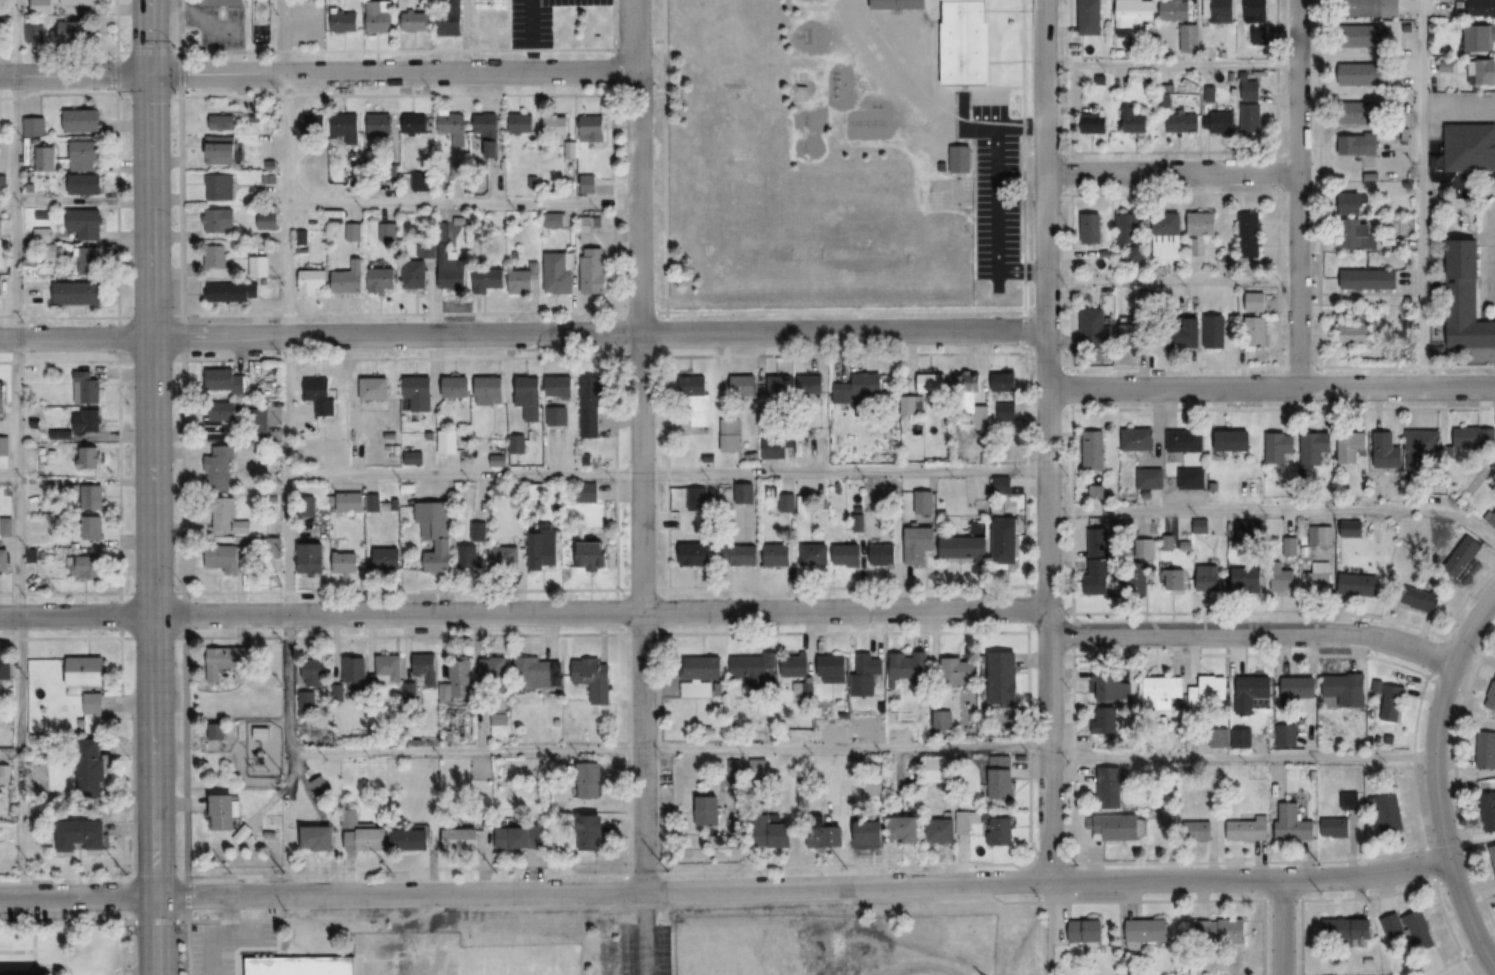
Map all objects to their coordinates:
building: (809, 0)
road: (1463, 2)
building: (78, 3)
building: (225, 3)
road: (1453, 3)
building: (896, 4)
road: (1424, 5)
parking lot: (1407, 6)
building: (459, 7)
parking lot: (1443, 7)
building: (1372, 8)
building: (1480, 8)
building: (1176, 10)
building: (1218, 11)
building: (1256, 11)
building: (1459, 12)
building: (380, 16)
building: (1090, 17)
building: (1134, 17)
building: (347, 20)
building: (3, 21)
building: (417, 21)
building: (453, 24)
building: (1462, 31)
building: (67, 32)
building: (34, 33)
building: (1363, 36)
building: (1479, 37)
building: (1435, 38)
building: (1189, 39)
road: (1419, 41)
building: (964, 42)
road: (1360, 51)
road: (1364, 51)
road: (1488, 54)
road: (1367, 55)
road: (1354, 59)
road: (1370, 59)
road: (1169, 65)
road: (1430, 66)
building: (1445, 67)
road: (392, 72)
road: (1460, 72)
building: (1482, 72)
road: (1419, 73)
road: (73, 74)
traffic signals: (148, 74)
road: (1069, 75)
building: (1362, 75)
parking lot: (1408, 75)
road: (1467, 83)
road: (1483, 89)
road: (1360, 94)
road: (1364, 94)
road: (1367, 94)
road: (14, 104)
parking lot: (1458, 110)
road: (1419, 111)
building: (1362, 114)
road: (1425, 116)
road: (1461, 116)
building: (1253, 118)
building: (82, 120)
building: (223, 122)
building: (1143, 122)
building: (1223, 122)
building: (312, 123)
building: (379, 123)
building: (454, 123)
building: (522, 123)
building: (1183, 123)
building: (413, 124)
building: (556, 124)
building: (1098, 124)
road: (1461, 125)
road: (976, 126)
road: (1019, 126)
building: (34, 127)
building: (345, 128)
building: (592, 129)
building: (488, 133)
road: (1323, 145)
building: (1358, 147)
building: (1469, 148)
building: (221, 150)
road: (1046, 152)
road: (1021, 154)
building: (85, 155)
road: (1418, 157)
parking lot: (1394, 158)
building: (43, 159)
building: (960, 160)
building: (941, 167)
building: (1368, 171)
road: (1169, 173)
building: (1375, 174)
building: (1407, 182)
building: (588, 183)
building: (85, 185)
building: (218, 187)
road: (1320, 187)
road: (1485, 187)
parking lot: (1490, 189)
road: (1295, 193)
road: (1423, 193)
park: (948, 194)
parking lot: (993, 194)
road: (1153, 194)
road: (1152, 198)
road: (1481, 198)
road: (1196, 199)
road: (1308, 202)
road: (1120, 203)
building: (1348, 203)
road: (461, 204)
road: (996, 207)
road: (7, 210)
road: (1349, 216)
road: (1484, 217)
building: (220, 220)
building: (267, 220)
building: (555, 221)
building: (589, 223)
building: (1201, 223)
road: (1274, 223)
building: (85, 224)
building: (1, 228)
building: (1090, 228)
road: (1104, 230)
building: (385, 232)
building: (352, 233)
building: (1130, 234)
building: (1165, 235)
building: (1249, 235)
building: (1356, 235)
road: (284, 237)
road: (1273, 245)
building: (1193, 246)
building: (1105, 247)
parking lot: (1089, 250)
parking lot: (1490, 251)
road: (1059, 252)
parking lot: (1198, 255)
building: (216, 257)
park: (864, 257)
park: (749, 258)
building: (90, 261)
road: (1071, 262)
building: (257, 266)
road: (1170, 269)
road: (1122, 270)
building: (593, 271)
road: (1021, 271)
building: (451, 272)
building: (559, 273)
road: (1196, 273)
building: (414, 275)
road: (1170, 278)
building: (1367, 278)
building: (349, 279)
parking lot: (1314, 279)
building: (2, 280)
building: (382, 280)
building: (489, 280)
road: (1279, 280)
building: (312, 281)
building: (521, 281)
parking lot: (1408, 281)
road: (1414, 281)
road: (1358, 291)
road: (1378, 291)
building: (233, 292)
building: (77, 294)
road: (1367, 294)
building: (1145, 297)
building: (1465, 298)
parking lot: (1278, 303)
road: (1291, 305)
road: (687, 311)
road: (638, 312)
road: (1302, 312)
parking lot: (1330, 312)
building: (1357, 313)
building: (1254, 321)
building: (1092, 329)
road: (1023, 330)
building: (1133, 331)
building: (1213, 332)
road: (1272, 332)
building: (1354, 333)
road: (664, 334)
building: (1183, 334)
road: (1324, 334)
road: (597, 335)
road: (74, 338)
road: (15, 344)
parking lot: (1227, 344)
building: (1240, 345)
road: (1269, 349)
road: (1357, 350)
road: (1133, 355)
parking lot: (1243, 357)
road: (1365, 366)
road: (1463, 366)
road: (1173, 367)
road: (1102, 371)
road: (1228, 376)
road: (1244, 376)
building: (225, 381)
building: (932, 383)
building: (1003, 383)
building: (811, 385)
building: (560, 387)
building: (744, 387)
building: (779, 387)
road: (1270, 387)
building: (87, 388)
building: (456, 388)
building: (857, 388)
building: (374, 390)
building: (490, 391)
building: (320, 395)
building: (418, 395)
building: (3, 398)
building: (697, 400)
building: (977, 402)
building: (911, 406)
building: (590, 407)
building: (524, 410)
building: (1005, 412)
building: (557, 416)
building: (219, 419)
building: (85, 420)
building: (730, 435)
building: (1474, 438)
road: (1045, 439)
building: (1136, 440)
building: (1234, 440)
building: (1185, 441)
building: (447, 442)
road: (638, 444)
building: (1278, 445)
road: (149, 447)
building: (1315, 447)
building: (1350, 447)
building: (771, 449)
building: (1093, 449)
building: (4, 450)
building: (1387, 451)
building: (1420, 451)
building: (89, 457)
building: (218, 468)
road: (666, 474)
building: (1149, 478)
road: (8, 479)
building: (1191, 479)
building: (1002, 485)
road: (182, 487)
building: (589, 492)
building: (743, 493)
building: (91, 497)
building: (696, 498)
building: (349, 502)
building: (372, 503)
road: (1275, 509)
building: (1491, 517)
building: (227, 518)
building: (6, 527)
building: (1200, 527)
building: (88, 529)
building: (1249, 530)
building: (477, 531)
building: (435, 534)
building: (1322, 536)
building: (1005, 541)
building: (919, 544)
building: (544, 547)
building: (964, 547)
building: (1146, 549)
building: (695, 554)
building: (740, 554)
building: (777, 554)
building: (815, 555)
building: (848, 555)
building: (884, 555)
building: (591, 556)
building: (1463, 556)
building: (310, 558)
building: (469, 558)
building: (507, 558)
building: (232, 559)
building: (387, 559)
building: (4, 562)
building: (1099, 562)
building: (346, 563)
building: (85, 567)
building: (1208, 579)
building: (1175, 580)
building: (1247, 580)
building: (1284, 580)
building: (1137, 583)
building: (1318, 584)
building: (1360, 585)
road: (535, 589)
building: (1424, 601)
road: (522, 612)
road: (17, 616)
road: (1250, 634)
road: (83, 637)
road: (287, 644)
building: (225, 661)
building: (793, 666)
building: (701, 667)
building: (751, 667)
building: (908, 667)
building: (387, 668)
building: (830, 669)
building: (5, 670)
building: (493, 670)
building: (958, 671)
building: (85, 673)
building: (314, 673)
building: (354, 673)
building: (537, 673)
building: (865, 676)
building: (458, 679)
building: (594, 679)
building: (1003, 679)
building: (1113, 688)
building: (1205, 689)
building: (696, 690)
building: (1254, 690)
building: (1346, 690)
building: (1297, 691)
building: (1159, 692)
building: (1491, 698)
building: (306, 701)
building: (92, 702)
building: (1391, 704)
building: (940, 721)
building: (1107, 722)
building: (221, 733)
road: (860, 748)
building: (1485, 750)
road: (8, 755)
building: (757, 767)
building: (89, 768)
building: (936, 770)
building: (1002, 778)
road: (1434, 779)
building: (588, 781)
building: (317, 786)
building: (1111, 788)
building: (1488, 810)
building: (706, 811)
building: (224, 813)
building: (1388, 814)
road: (17, 825)
building: (1293, 825)
building: (1118, 828)
building: (1246, 828)
building: (1336, 828)
building: (906, 830)
building: (942, 831)
building: (1198, 831)
building: (1001, 832)
building: (870, 833)
building: (364, 834)
building: (590, 834)
building: (81, 835)
building: (776, 836)
building: (826, 836)
building: (318, 838)
building: (521, 838)
building: (461, 839)
building: (411, 840)
building: (1493, 849)
road: (1248, 879)
road: (600, 890)
road: (77, 894)
road: (756, 903)
road: (66, 921)
road: (153, 921)
building: (1409, 926)
road: (1281, 927)
building: (1221, 928)
building: (1087, 930)
building: (1349, 930)
road: (643, 932)
building: (1146, 932)
road: (154, 934)
road: (226, 934)
parking lot: (644, 949)
building: (304, 966)
building: (841, 973)
building: (21, 974)

